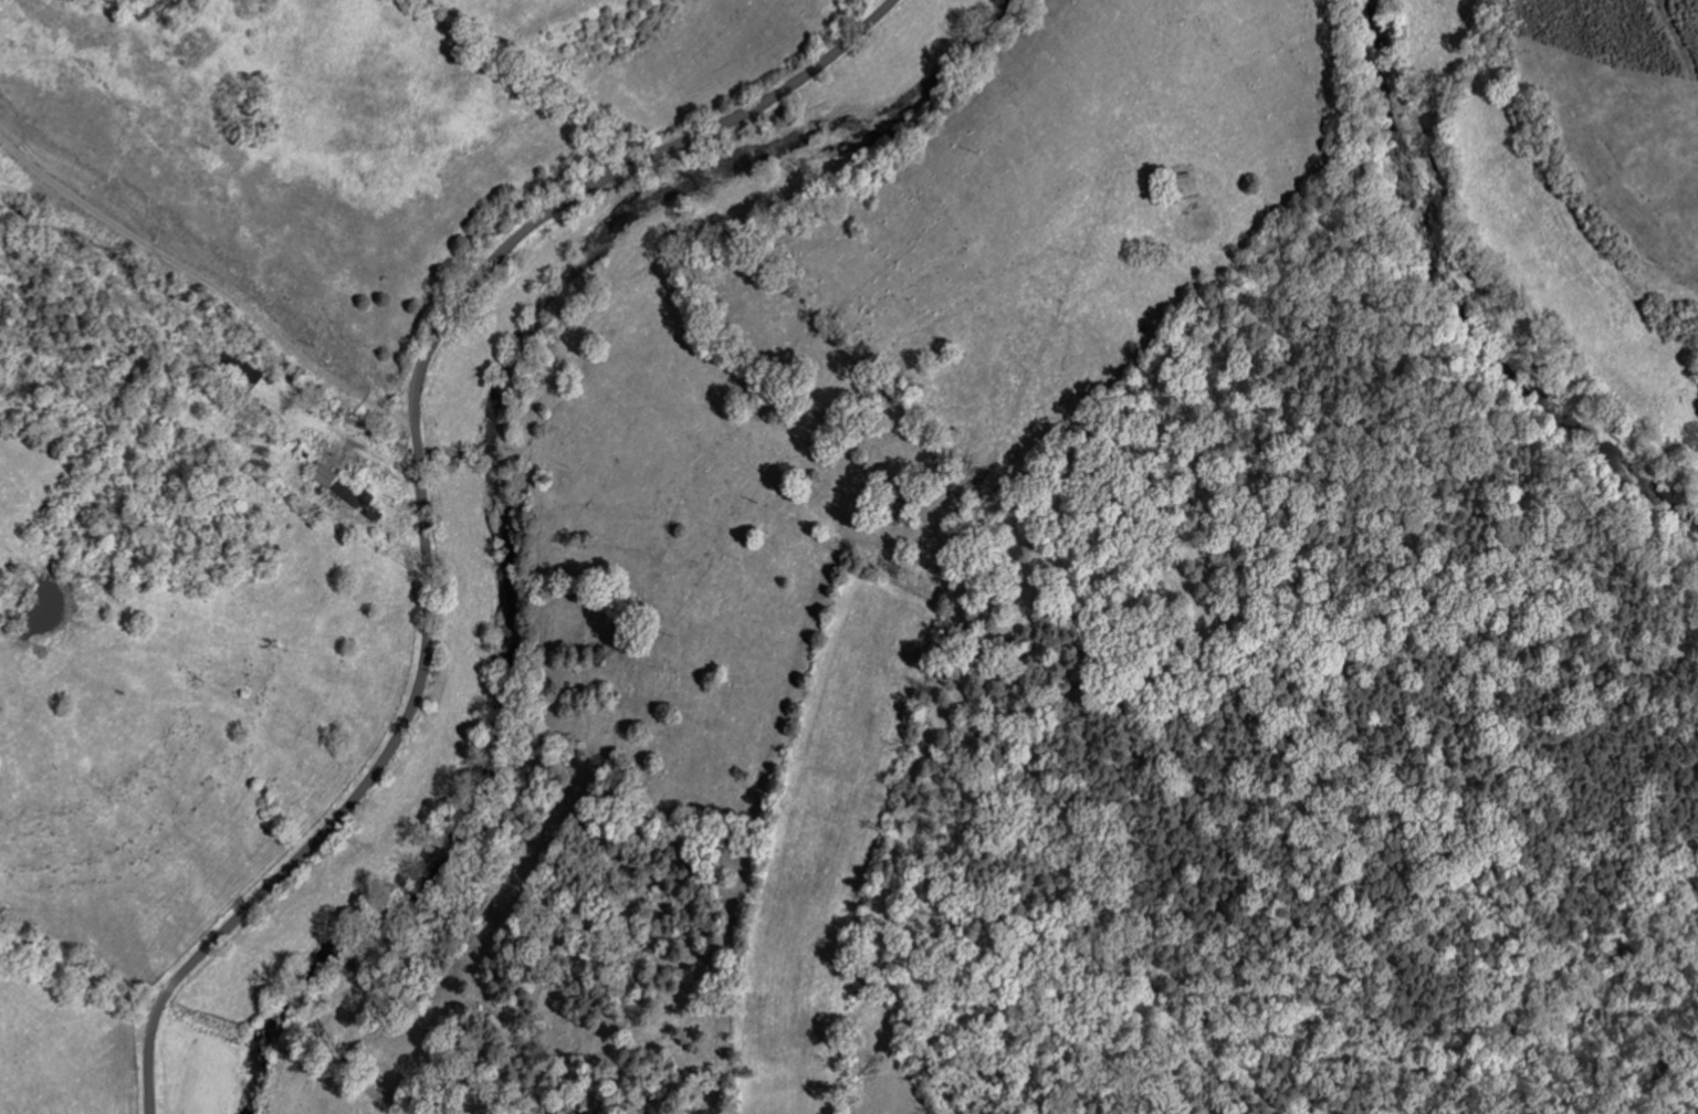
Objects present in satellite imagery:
building: (325, 475)
road: (421, 484)
building: (361, 501)

